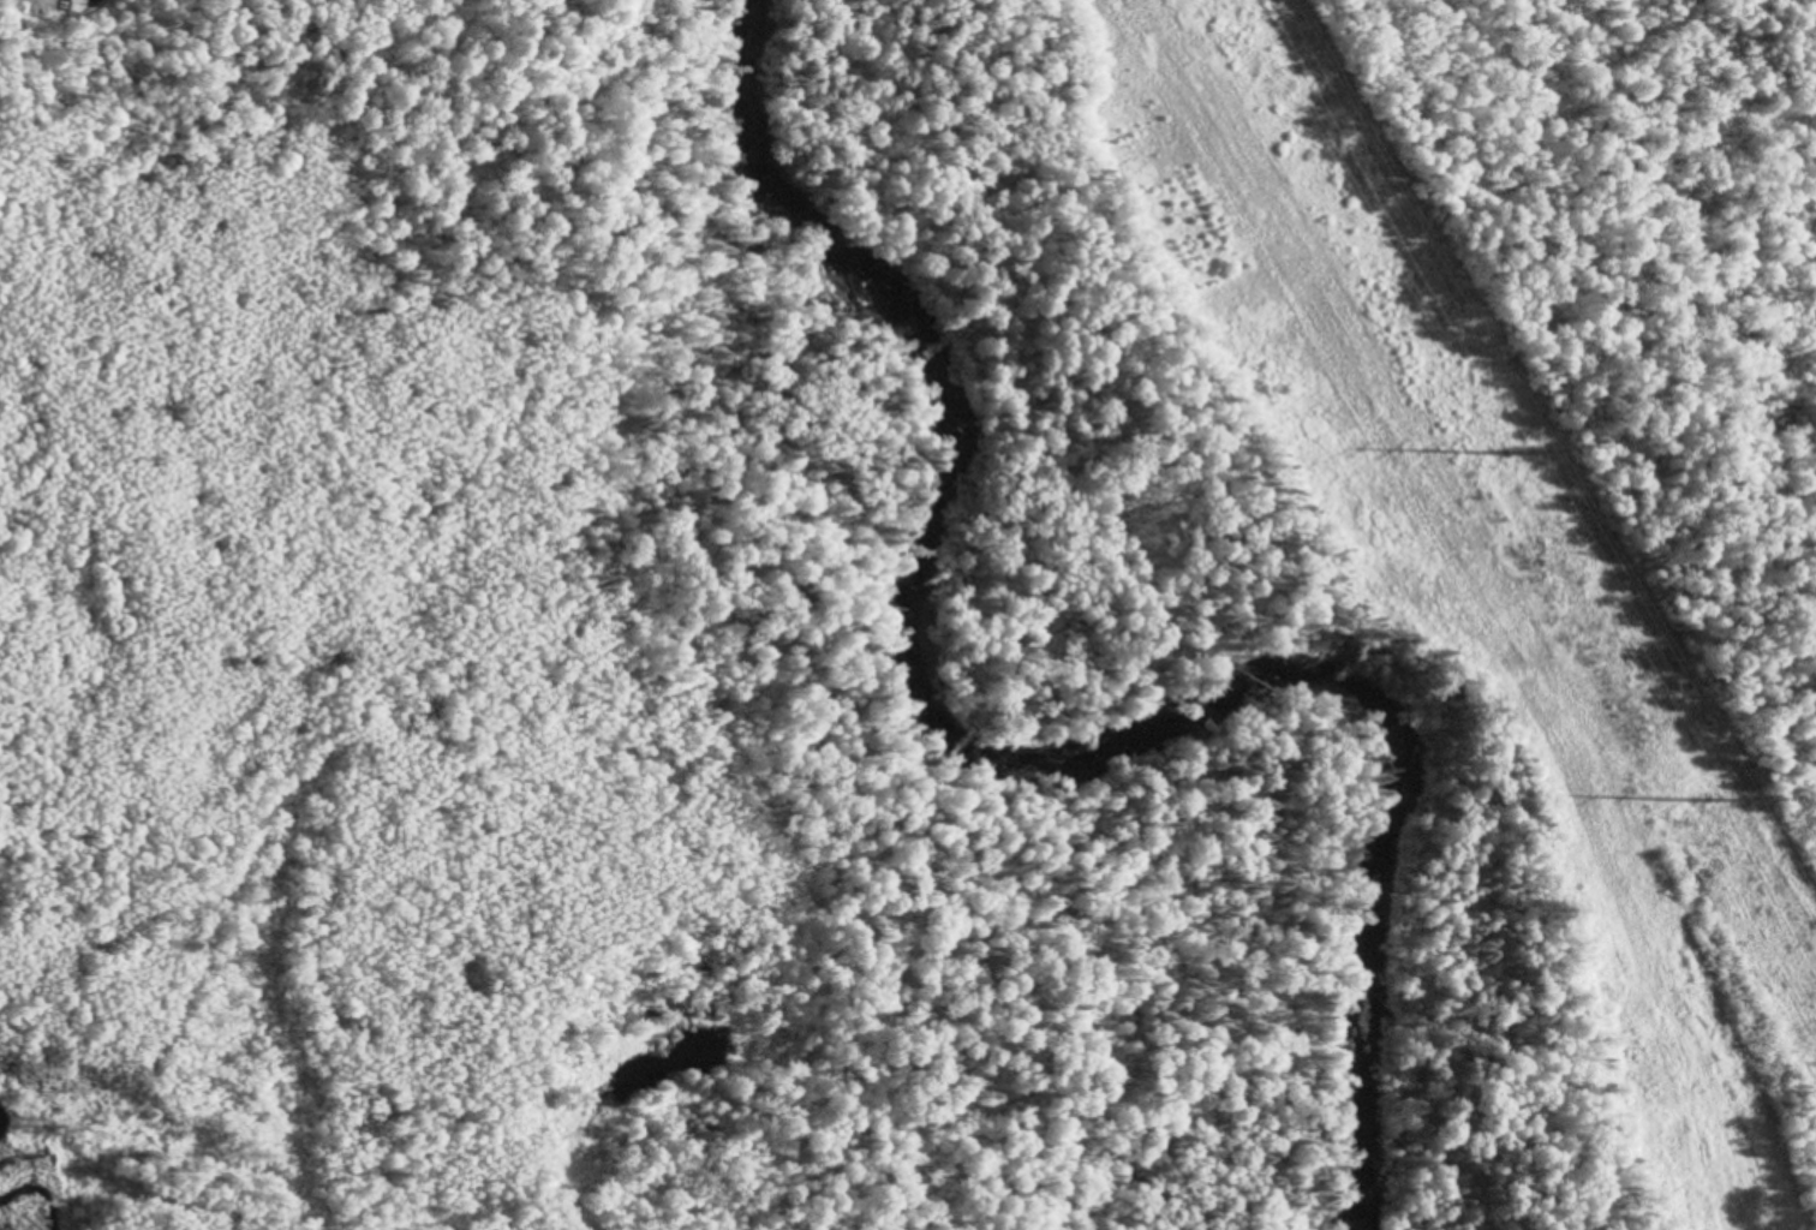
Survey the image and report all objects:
power tower: (1505, 454)
power tower: (1708, 800)

